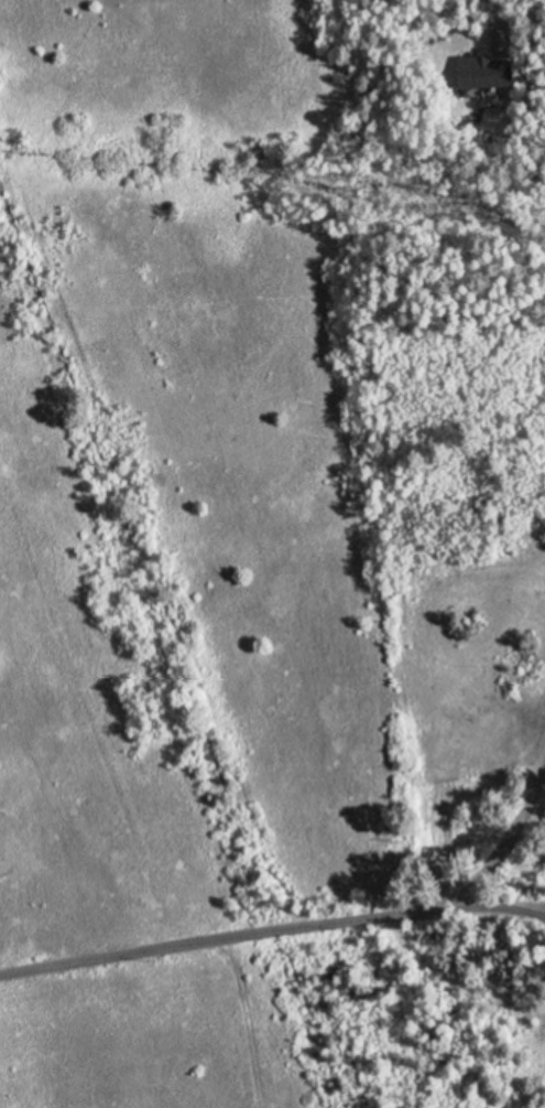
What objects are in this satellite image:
road: (493, 20)
building: (488, 69)
road: (271, 928)

